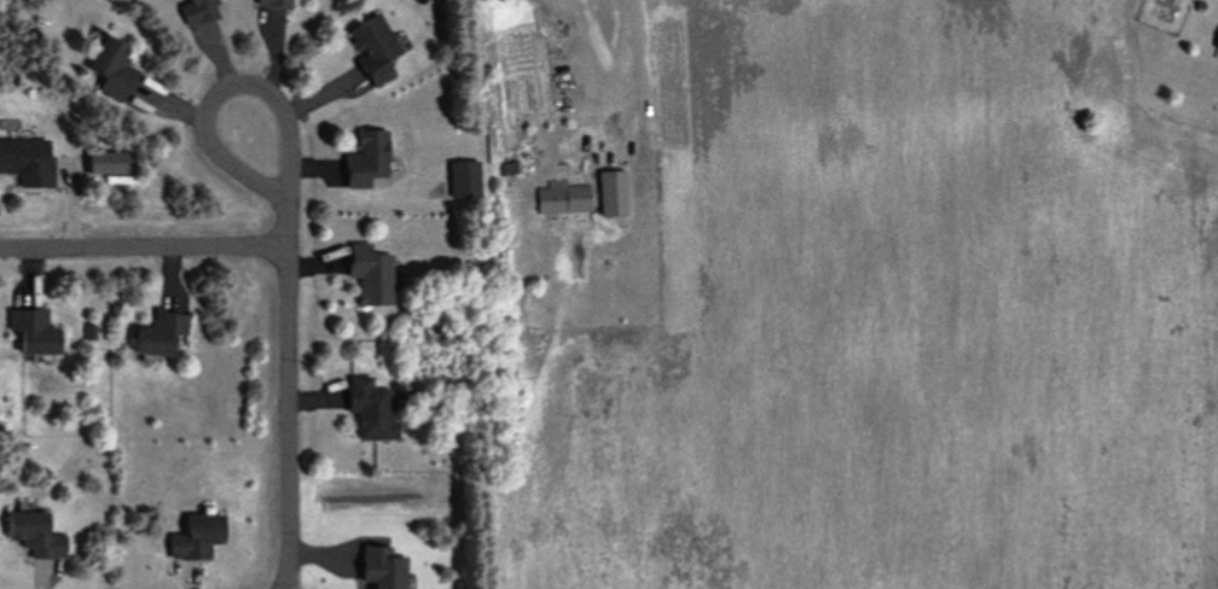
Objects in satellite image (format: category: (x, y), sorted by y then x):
building: (503, 0)
building: (273, 4)
building: (198, 11)
building: (1216, 45)
building: (371, 47)
road: (638, 70)
building: (111, 71)
road: (226, 91)
building: (364, 161)
building: (25, 162)
building: (509, 168)
building: (610, 193)
building: (551, 197)
road: (144, 246)
building: (369, 275)
crop: (893, 317)
building: (31, 333)
building: (158, 336)
road: (289, 393)
building: (370, 408)
building: (198, 538)
building: (35, 540)

